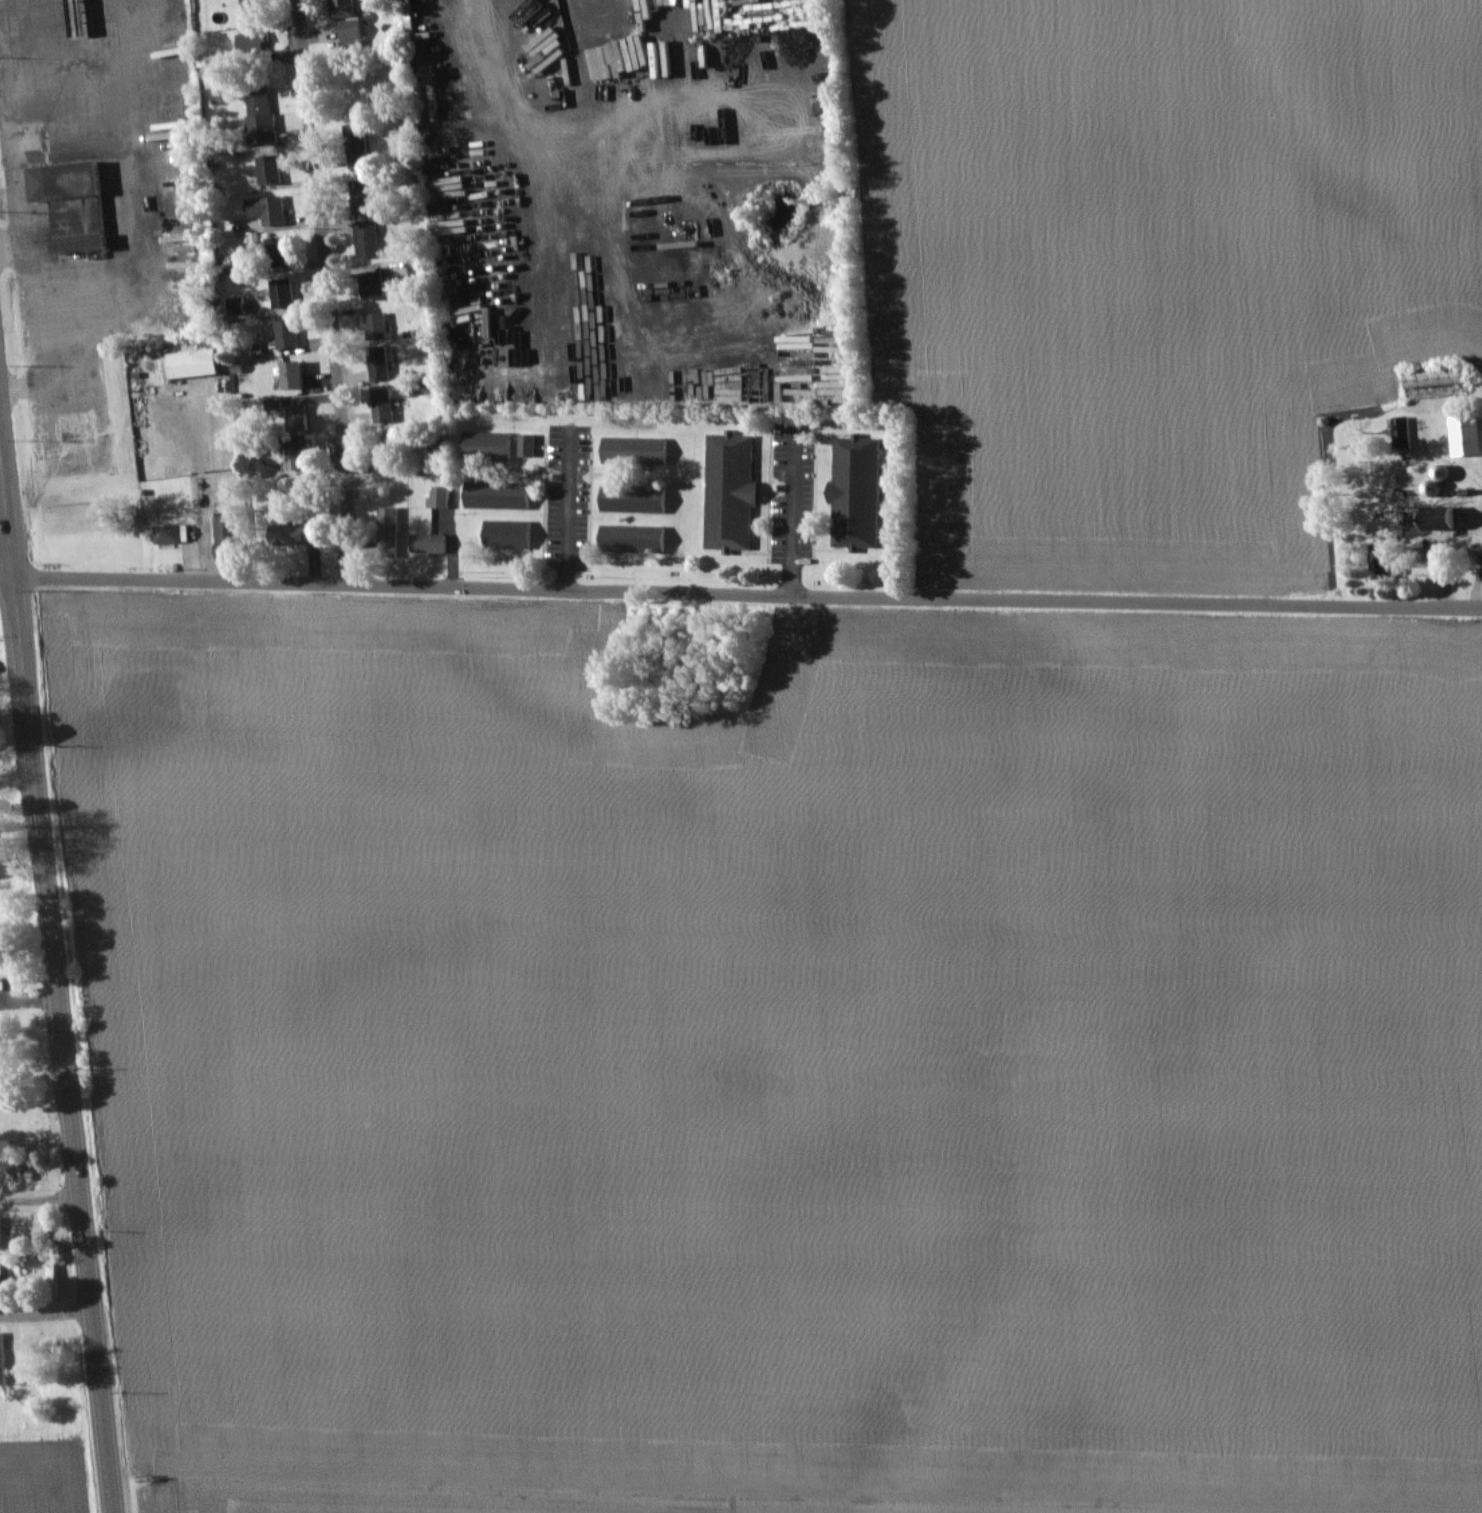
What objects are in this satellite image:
building: (350, 22)
building: (617, 26)
road: (128, 35)
building: (255, 44)
road: (4, 65)
road: (24, 97)
building: (261, 103)
building: (359, 145)
building: (272, 172)
road: (19, 188)
building: (364, 196)
building: (79, 204)
building: (270, 210)
building: (370, 239)
road: (130, 248)
building: (283, 253)
building: (375, 285)
road: (327, 290)
building: (285, 295)
road: (36, 318)
building: (290, 334)
building: (381, 346)
building: (199, 363)
building: (298, 375)
building: (386, 406)
building: (301, 418)
building: (1470, 433)
building: (489, 445)
building: (530, 445)
building: (389, 449)
building: (638, 451)
building: (303, 454)
building: (501, 487)
road: (204, 489)
building: (734, 491)
building: (854, 497)
building: (636, 498)
road: (569, 513)
road: (794, 520)
building: (390, 529)
building: (298, 532)
building: (175, 534)
building: (511, 534)
building: (636, 538)
building: (432, 543)
road: (5, 546)
road: (747, 593)
road: (57, 987)
road: (40, 1200)
road: (46, 1313)
building: (3, 1359)
building: (31, 1371)

